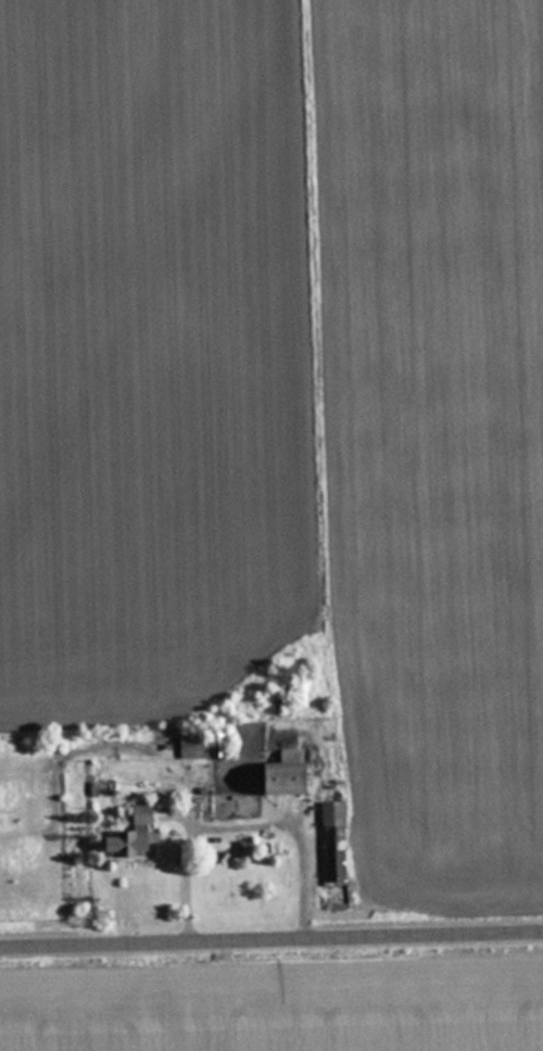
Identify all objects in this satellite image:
building: (294, 774)
building: (140, 835)
building: (338, 840)
road: (271, 939)

